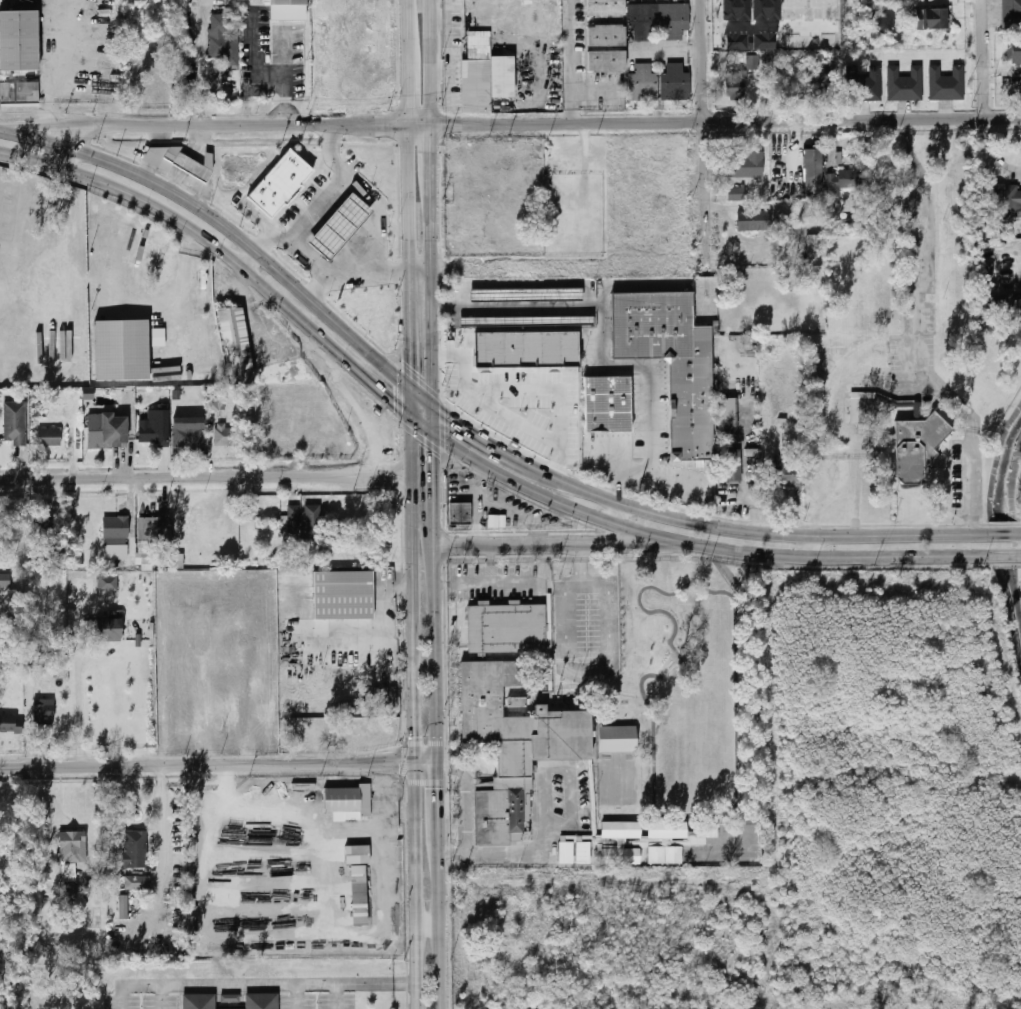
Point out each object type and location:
building: (286, 2)
road: (410, 9)
building: (605, 9)
building: (1011, 14)
building: (932, 18)
building: (674, 20)
building: (641, 22)
building: (886, 24)
building: (606, 35)
building: (223, 39)
building: (19, 40)
building: (1013, 50)
road: (985, 59)
road: (198, 61)
road: (430, 61)
road: (573, 61)
building: (606, 61)
building: (752, 62)
road: (411, 71)
road: (64, 74)
road: (249, 74)
building: (485, 74)
building: (818, 74)
building: (675, 82)
building: (643, 83)
building: (904, 84)
building: (946, 84)
building: (736, 85)
building: (863, 85)
building: (20, 94)
road: (50, 123)
road: (556, 123)
road: (83, 133)
road: (705, 148)
road: (330, 152)
road: (992, 152)
road: (69, 154)
road: (431, 154)
building: (188, 165)
building: (748, 165)
building: (813, 171)
building: (282, 182)
building: (841, 182)
road: (340, 184)
building: (736, 194)
road: (412, 196)
building: (1006, 201)
building: (754, 220)
road: (191, 222)
building: (343, 225)
gas station: (343, 225)
road: (236, 228)
building: (814, 250)
road: (250, 256)
road: (309, 256)
road: (381, 262)
building: (987, 270)
road: (423, 271)
road: (327, 274)
road: (180, 282)
building: (526, 294)
building: (997, 302)
road: (433, 304)
building: (526, 320)
road: (413, 330)
road: (919, 332)
building: (158, 337)
building: (236, 345)
road: (602, 345)
building: (121, 349)
building: (526, 352)
building: (669, 360)
traffic signals: (413, 362)
road: (380, 385)
traffic signals: (398, 400)
building: (212, 404)
building: (607, 404)
parking lot: (525, 407)
building: (863, 408)
building: (728, 413)
traffic signals: (453, 416)
building: (15, 422)
road: (464, 423)
building: (155, 429)
building: (107, 431)
building: (189, 432)
building: (226, 435)
building: (49, 437)
building: (918, 446)
traffic signals: (431, 448)
road: (431, 457)
building: (733, 467)
building: (785, 469)
road: (206, 478)
road: (751, 494)
road: (621, 510)
building: (250, 513)
building: (460, 514)
building: (215, 517)
building: (293, 521)
river: (1004, 521)
building: (312, 522)
building: (503, 522)
road: (734, 525)
building: (45, 529)
building: (116, 530)
building: (155, 530)
road: (1002, 533)
road: (1019, 533)
road: (685, 537)
road: (559, 540)
road: (812, 541)
road: (1001, 555)
road: (1019, 555)
building: (179, 561)
road: (586, 563)
road: (413, 576)
building: (296, 578)
building: (5, 580)
road: (509, 581)
road: (473, 582)
building: (108, 583)
road: (396, 586)
road: (576, 587)
road: (725, 588)
road: (678, 589)
building: (343, 595)
building: (11, 598)
building: (242, 613)
road: (379, 615)
road: (611, 617)
road: (307, 622)
road: (436, 627)
building: (108, 630)
road: (361, 644)
road: (567, 648)
building: (242, 654)
building: (59, 672)
road: (646, 676)
road: (1001, 679)
road: (735, 687)
road: (773, 694)
road: (79, 709)
building: (177, 712)
building: (266, 712)
building: (44, 713)
building: (234, 713)
building: (199, 714)
building: (510, 718)
road: (28, 721)
building: (11, 723)
traffic signals: (416, 734)
building: (615, 738)
park: (693, 761)
traffic signals: (399, 764)
road: (428, 764)
road: (208, 766)
traffic signals: (452, 767)
road: (563, 768)
traffic signals: (440, 787)
road: (440, 799)
road: (464, 800)
building: (346, 801)
road: (897, 809)
road: (100, 815)
road: (702, 815)
road: (161, 816)
building: (619, 828)
building: (665, 829)
building: (705, 829)
building: (13, 844)
building: (135, 849)
building: (564, 852)
building: (355, 853)
road: (453, 853)
road: (506, 853)
building: (582, 853)
building: (663, 854)
building: (619, 855)
building: (72, 856)
building: (138, 882)
road: (605, 885)
road: (417, 886)
building: (67, 893)
building: (357, 895)
building: (123, 907)
road: (441, 921)
road: (429, 924)
road: (280, 984)
road: (920, 997)
building: (230, 998)
building: (197, 1000)

